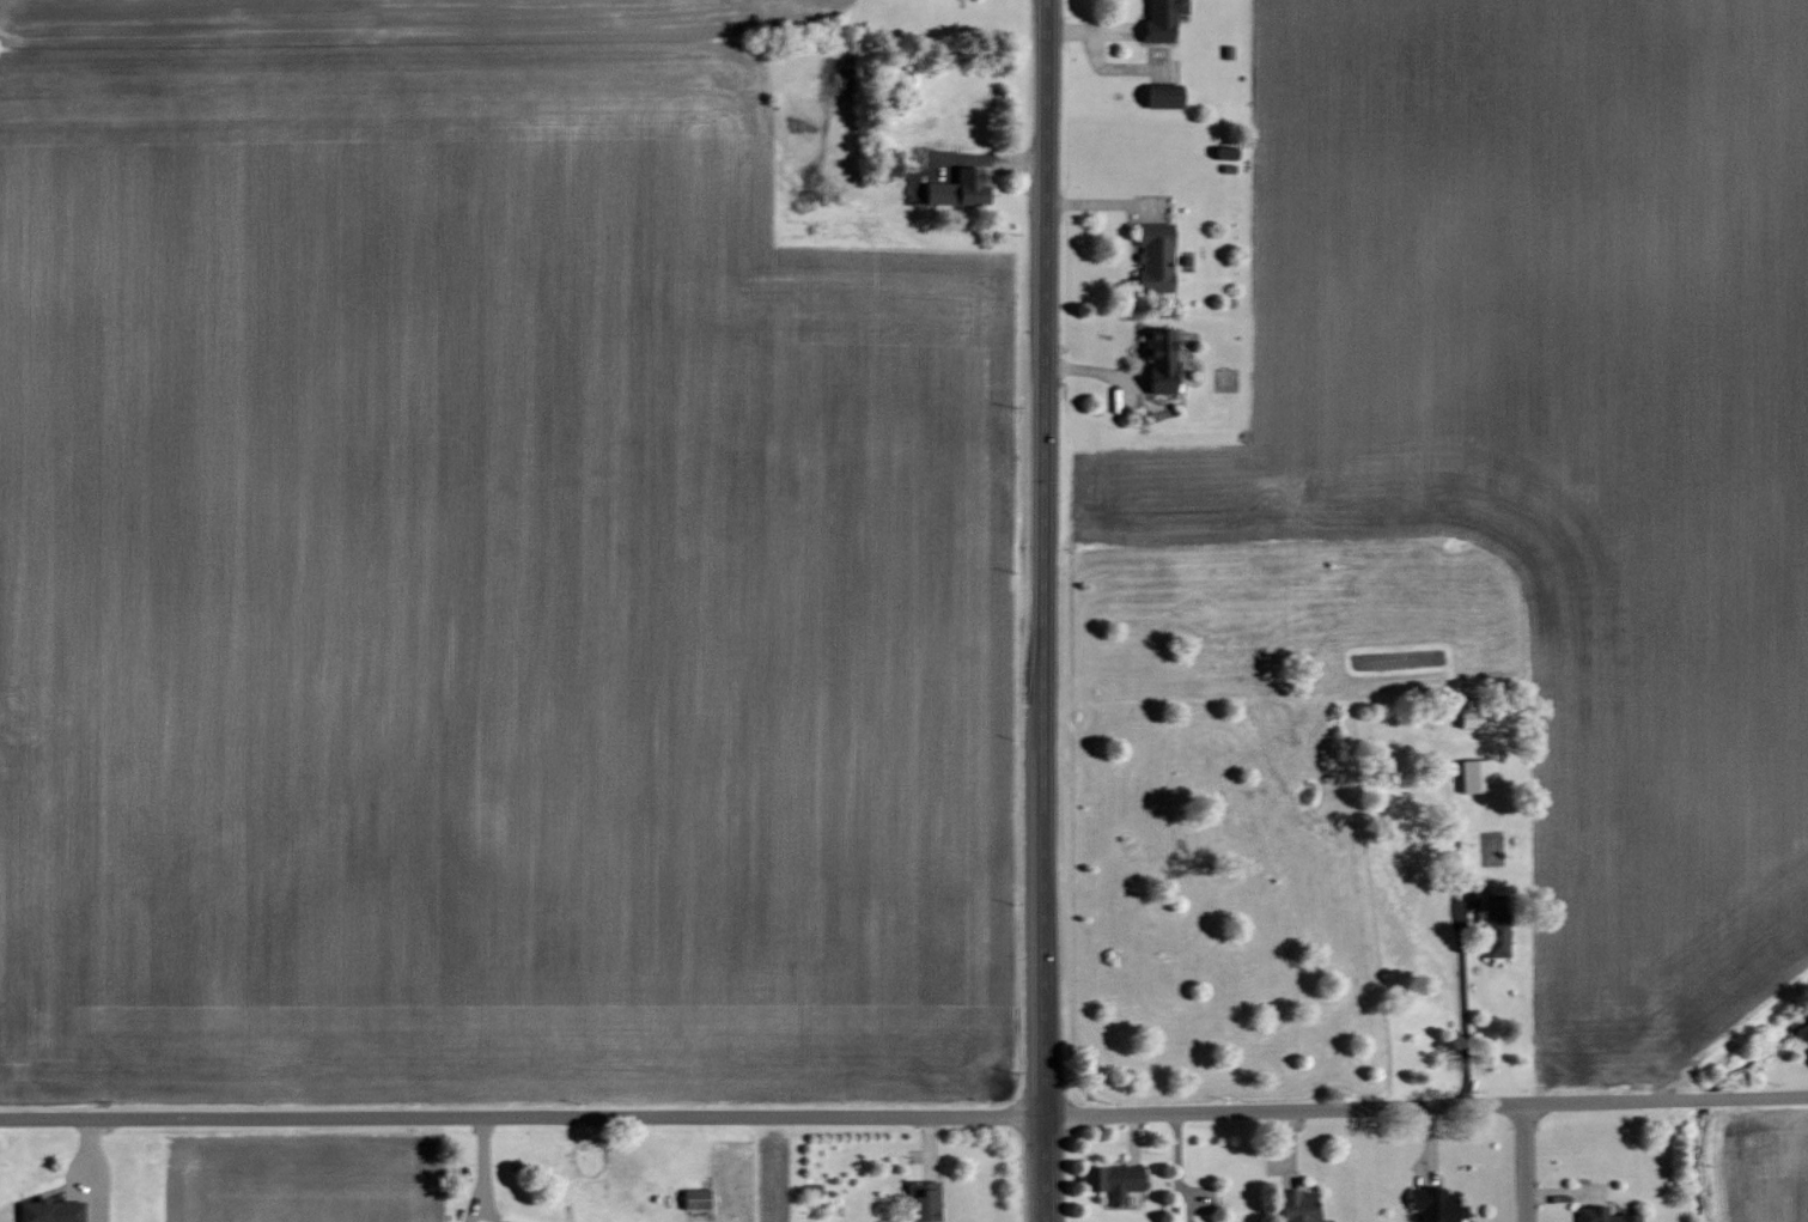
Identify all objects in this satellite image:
building: (1162, 18)
building: (1162, 95)
building: (1225, 153)
building: (957, 189)
building: (1153, 257)
building: (1159, 359)
road: (1046, 559)
building: (1469, 712)
building: (1474, 776)
building: (1496, 925)
road: (1463, 1008)
road: (903, 1119)
road: (1532, 1165)
road: (96, 1171)
road: (1046, 1171)
building: (1112, 1181)
building: (694, 1199)
building: (923, 1202)
building: (1436, 1204)
building: (1297, 1206)
building: (1603, 1215)

